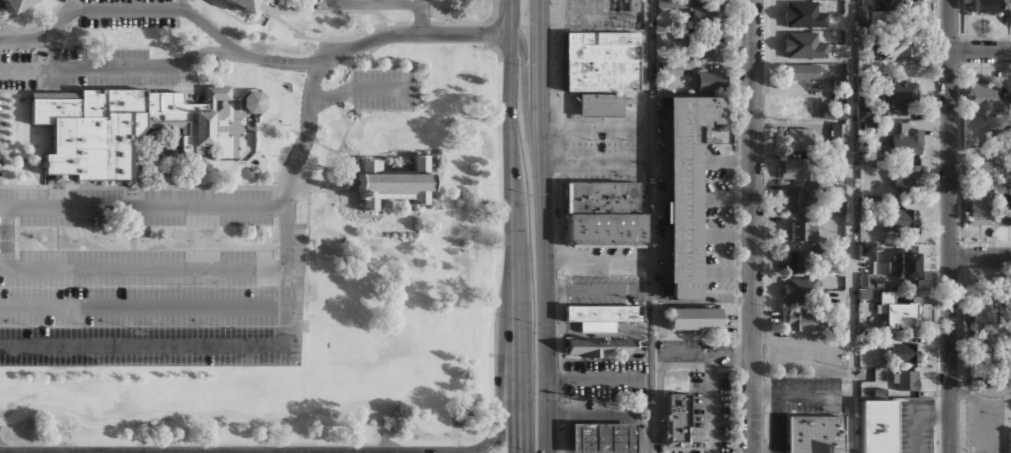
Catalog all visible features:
road: (371, 1)
road: (376, 2)
building: (896, 3)
parking lot: (371, 4)
building: (14, 5)
building: (243, 5)
parking lot: (589, 5)
building: (629, 5)
road: (309, 6)
building: (984, 7)
road: (328, 11)
parking lot: (132, 13)
building: (709, 13)
building: (803, 14)
building: (868, 15)
road: (594, 16)
road: (422, 17)
road: (512, 17)
road: (240, 21)
road: (401, 23)
road: (288, 25)
road: (36, 28)
road: (490, 40)
building: (803, 45)
building: (898, 45)
building: (706, 48)
road: (980, 51)
road: (245, 53)
building: (602, 62)
parking lot: (85, 68)
road: (120, 69)
building: (673, 69)
building: (801, 71)
building: (708, 77)
road: (649, 78)
road: (86, 85)
road: (380, 88)
building: (898, 95)
road: (330, 97)
building: (253, 101)
building: (987, 102)
building: (602, 104)
road: (526, 105)
building: (833, 113)
building: (119, 128)
building: (837, 134)
road: (306, 135)
road: (1, 137)
building: (797, 138)
building: (909, 139)
road: (338, 149)
parking lot: (602, 150)
road: (373, 153)
road: (980, 153)
road: (24, 163)
building: (793, 169)
building: (905, 175)
road: (319, 182)
road: (350, 182)
building: (394, 182)
road: (352, 186)
building: (683, 189)
road: (136, 196)
building: (979, 196)
road: (356, 197)
building: (597, 198)
building: (794, 201)
road: (649, 206)
road: (116, 207)
building: (1004, 208)
parking lot: (716, 216)
building: (901, 217)
building: (600, 222)
road: (544, 226)
road: (753, 226)
road: (852, 226)
road: (950, 226)
road: (306, 227)
building: (803, 231)
building: (601, 238)
road: (518, 243)
building: (864, 249)
road: (980, 258)
building: (792, 260)
parking lot: (604, 261)
building: (833, 266)
building: (905, 266)
road: (143, 268)
parking lot: (148, 278)
parking lot: (604, 290)
building: (802, 291)
road: (143, 306)
building: (899, 311)
building: (600, 313)
building: (691, 319)
building: (988, 319)
building: (804, 321)
road: (211, 345)
building: (595, 347)
building: (902, 352)
road: (701, 355)
road: (650, 356)
building: (980, 365)
parking lot: (603, 378)
building: (906, 380)
road: (980, 392)
road: (803, 395)
road: (659, 402)
road: (712, 404)
road: (242, 414)
building: (675, 418)
road: (918, 419)
parking lot: (984, 425)
building: (875, 427)
road: (495, 432)
building: (797, 434)
building: (820, 434)
building: (834, 434)
building: (600, 438)
gas station: (600, 438)
building: (1010, 442)
road: (487, 443)

